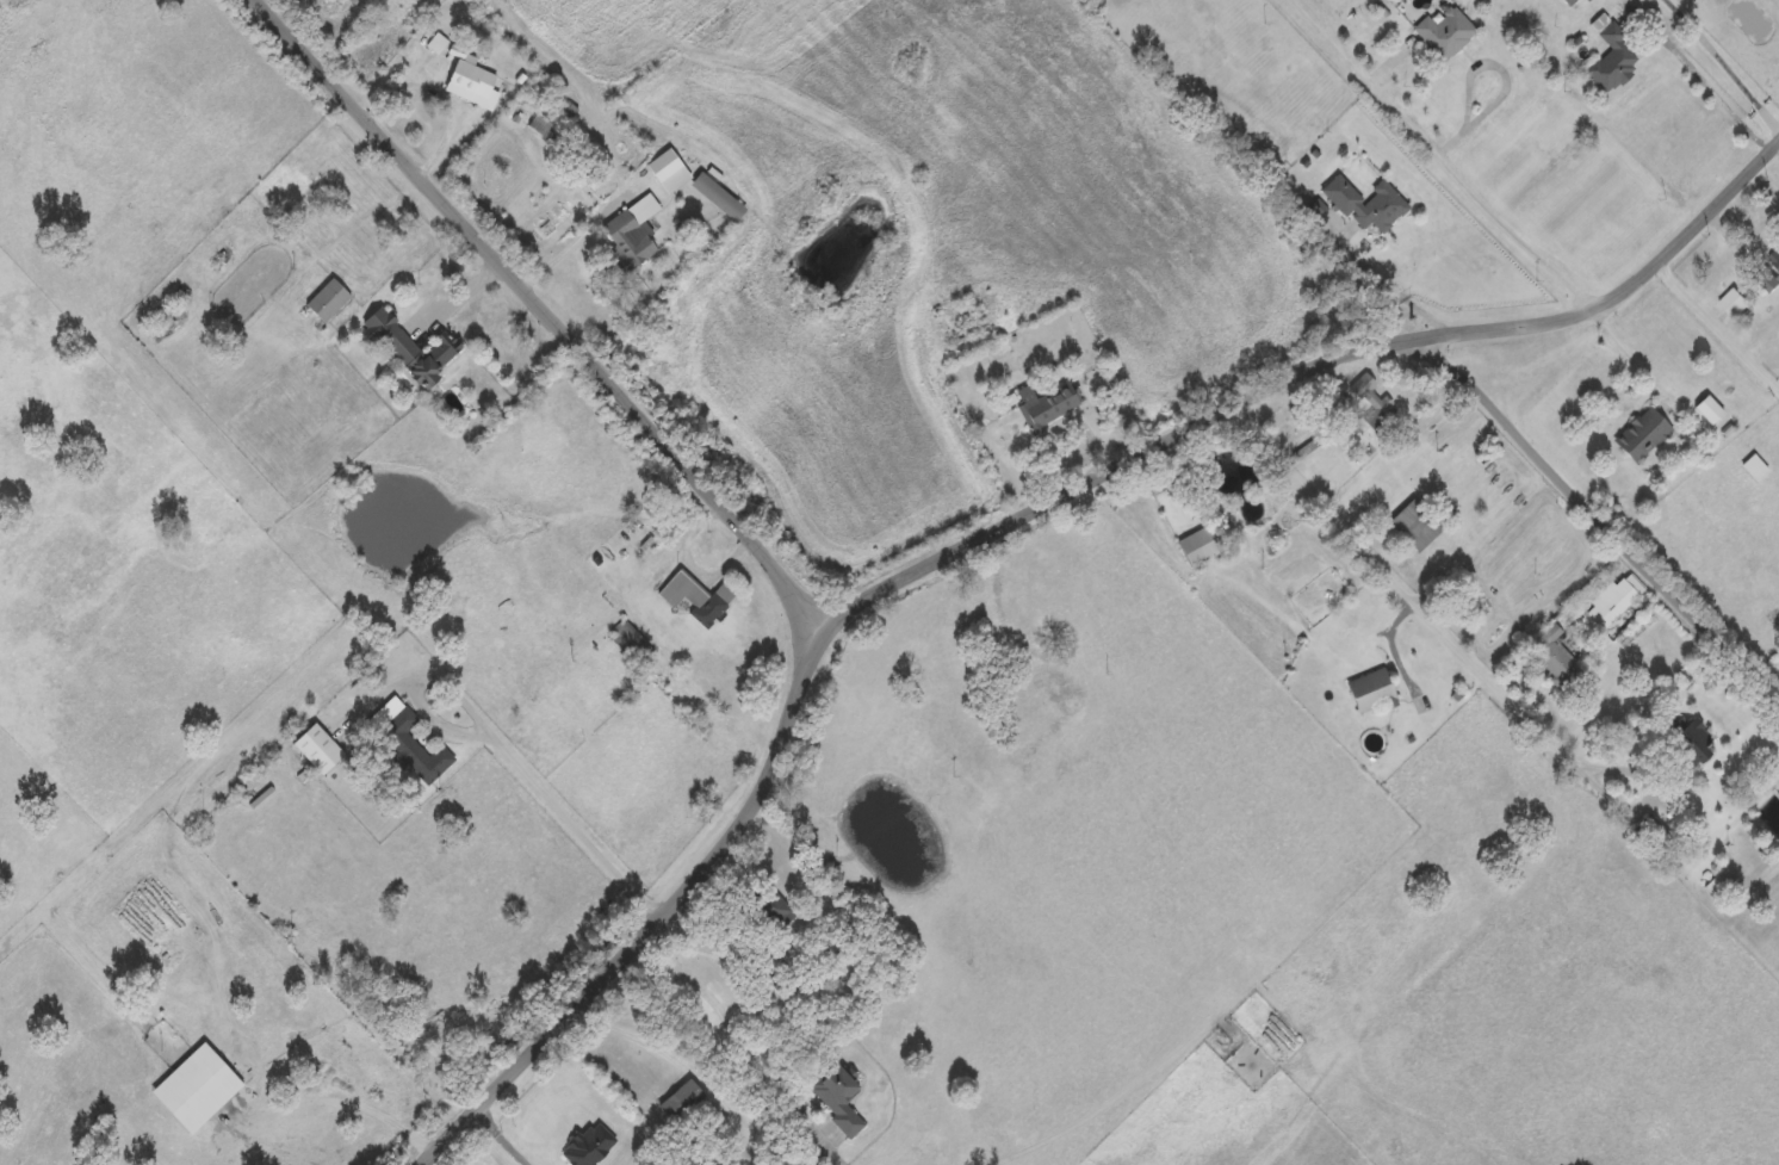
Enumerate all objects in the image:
building: (352, 0)
building: (1444, 29)
road: (1730, 58)
building: (1611, 60)
building: (467, 79)
road: (440, 93)
road: (1718, 95)
road: (1451, 159)
building: (713, 192)
building: (1366, 202)
building: (631, 229)
road: (565, 247)
building: (1775, 255)
road: (1391, 281)
building: (327, 298)
building: (1732, 299)
road: (541, 305)
building: (956, 320)
road: (1717, 326)
building: (410, 345)
road: (1351, 349)
road: (1637, 357)
building: (1046, 402)
building: (1369, 404)
building: (1707, 408)
building: (1642, 433)
building: (1754, 466)
road: (1595, 508)
building: (1414, 523)
building: (1202, 544)
road: (1405, 584)
building: (694, 595)
road: (857, 597)
building: (1612, 601)
road: (1393, 642)
building: (1552, 651)
building: (612, 667)
building: (1370, 689)
building: (405, 737)
building: (317, 745)
building: (1684, 751)
road: (544, 788)
building: (1656, 836)
building: (1716, 885)
building: (771, 910)
road: (661, 919)
building: (788, 983)
road: (733, 1029)
road: (637, 1036)
building: (196, 1086)
building: (835, 1097)
road: (506, 1135)
road: (450, 1155)

